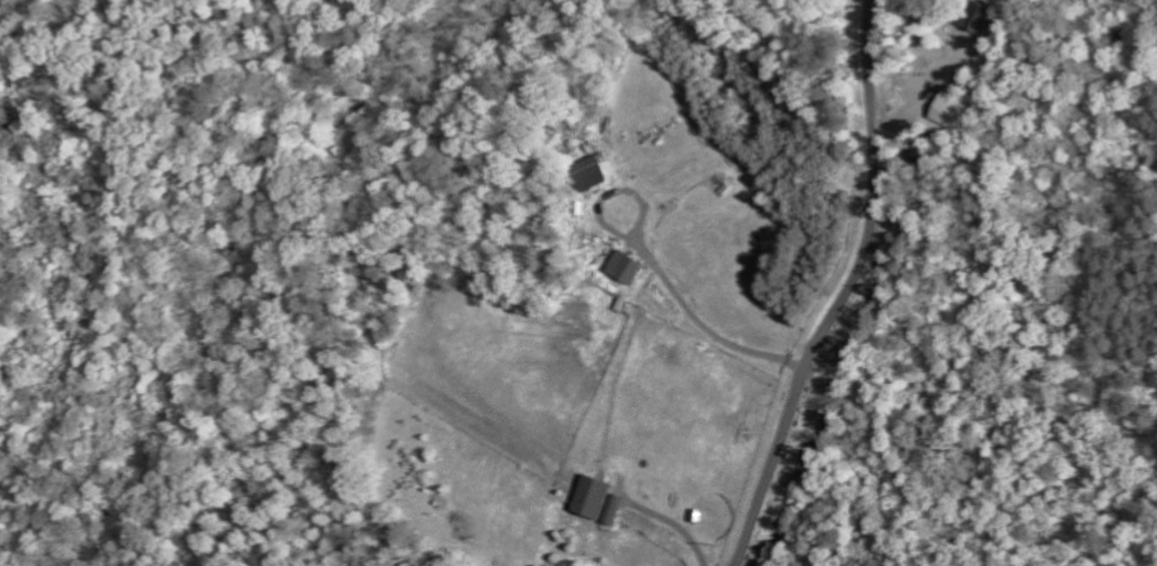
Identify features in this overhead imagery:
building: (954, 105)
building: (601, 172)
building: (631, 267)
road: (852, 291)
building: (600, 496)

